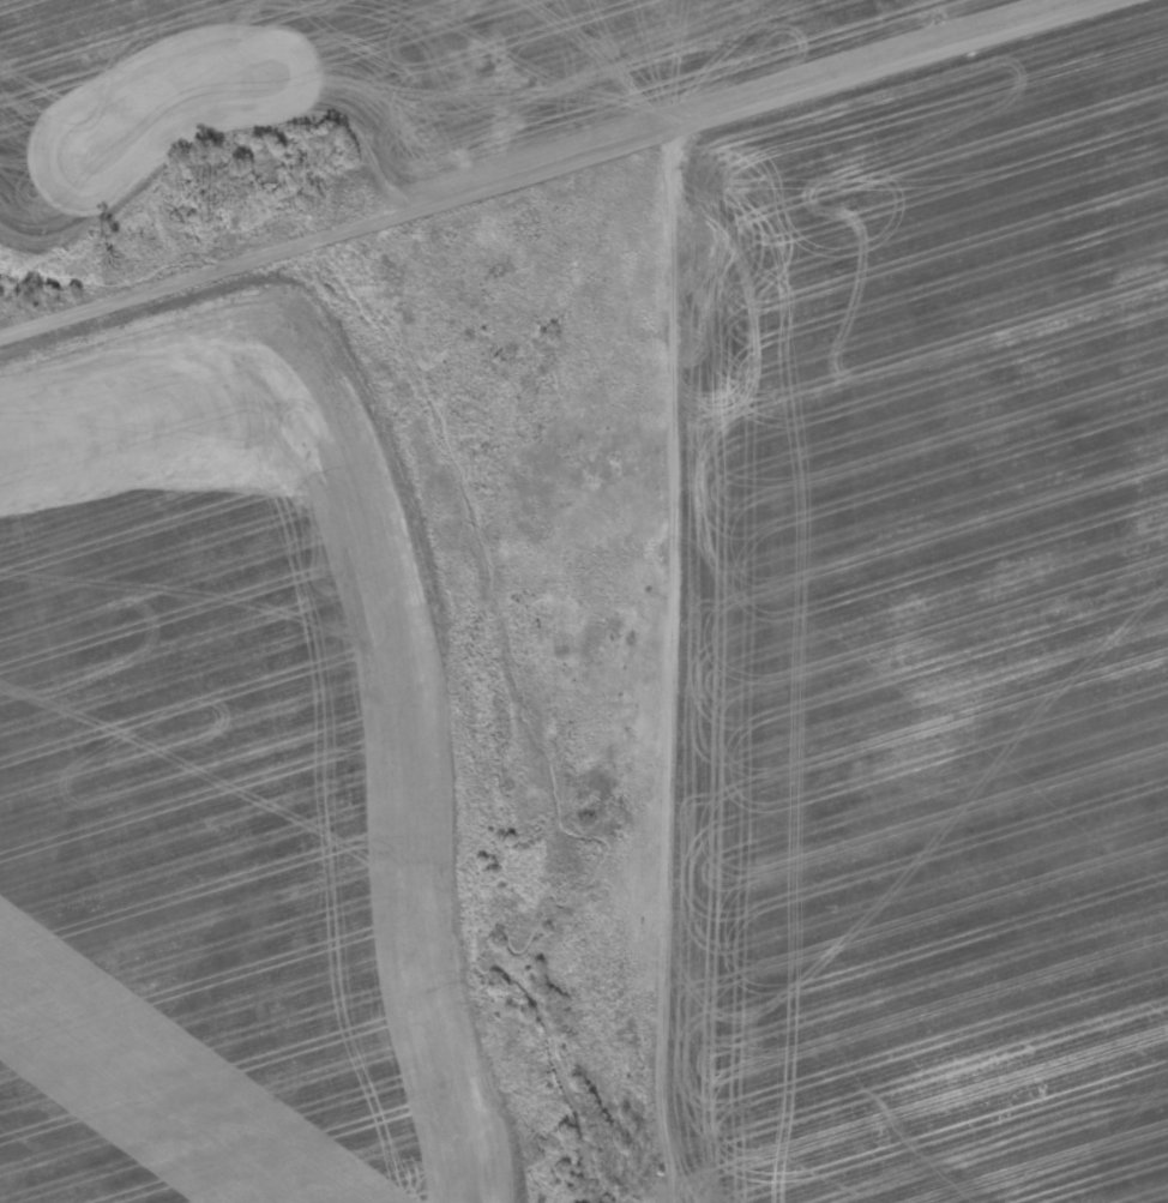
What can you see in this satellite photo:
road: (549, 163)

